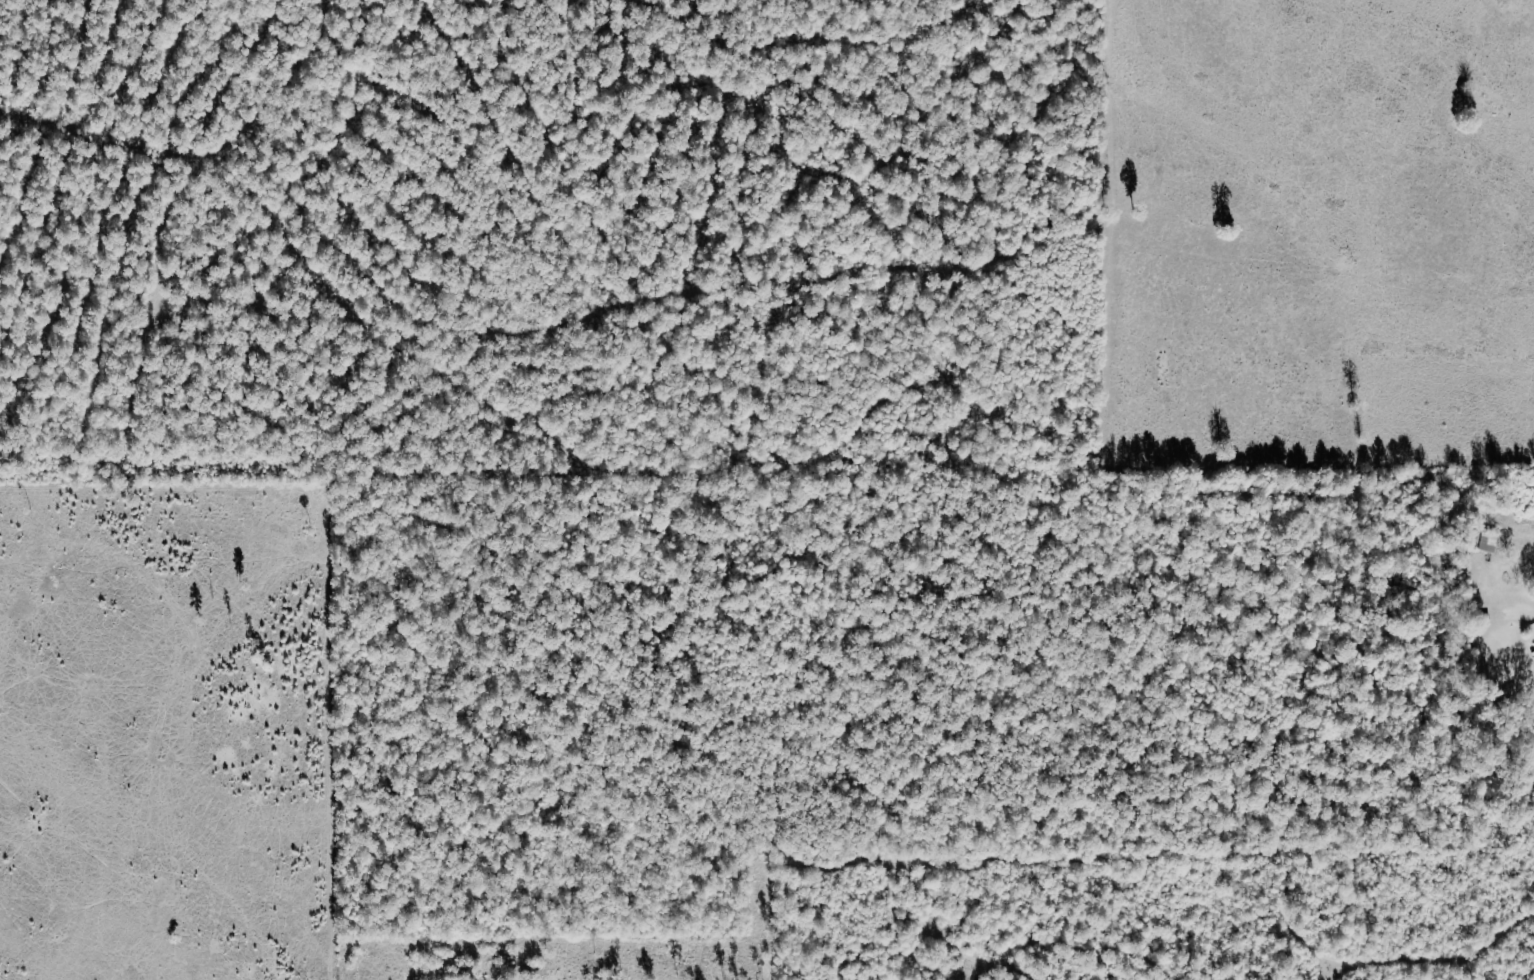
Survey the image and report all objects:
building: (1533, 654)

